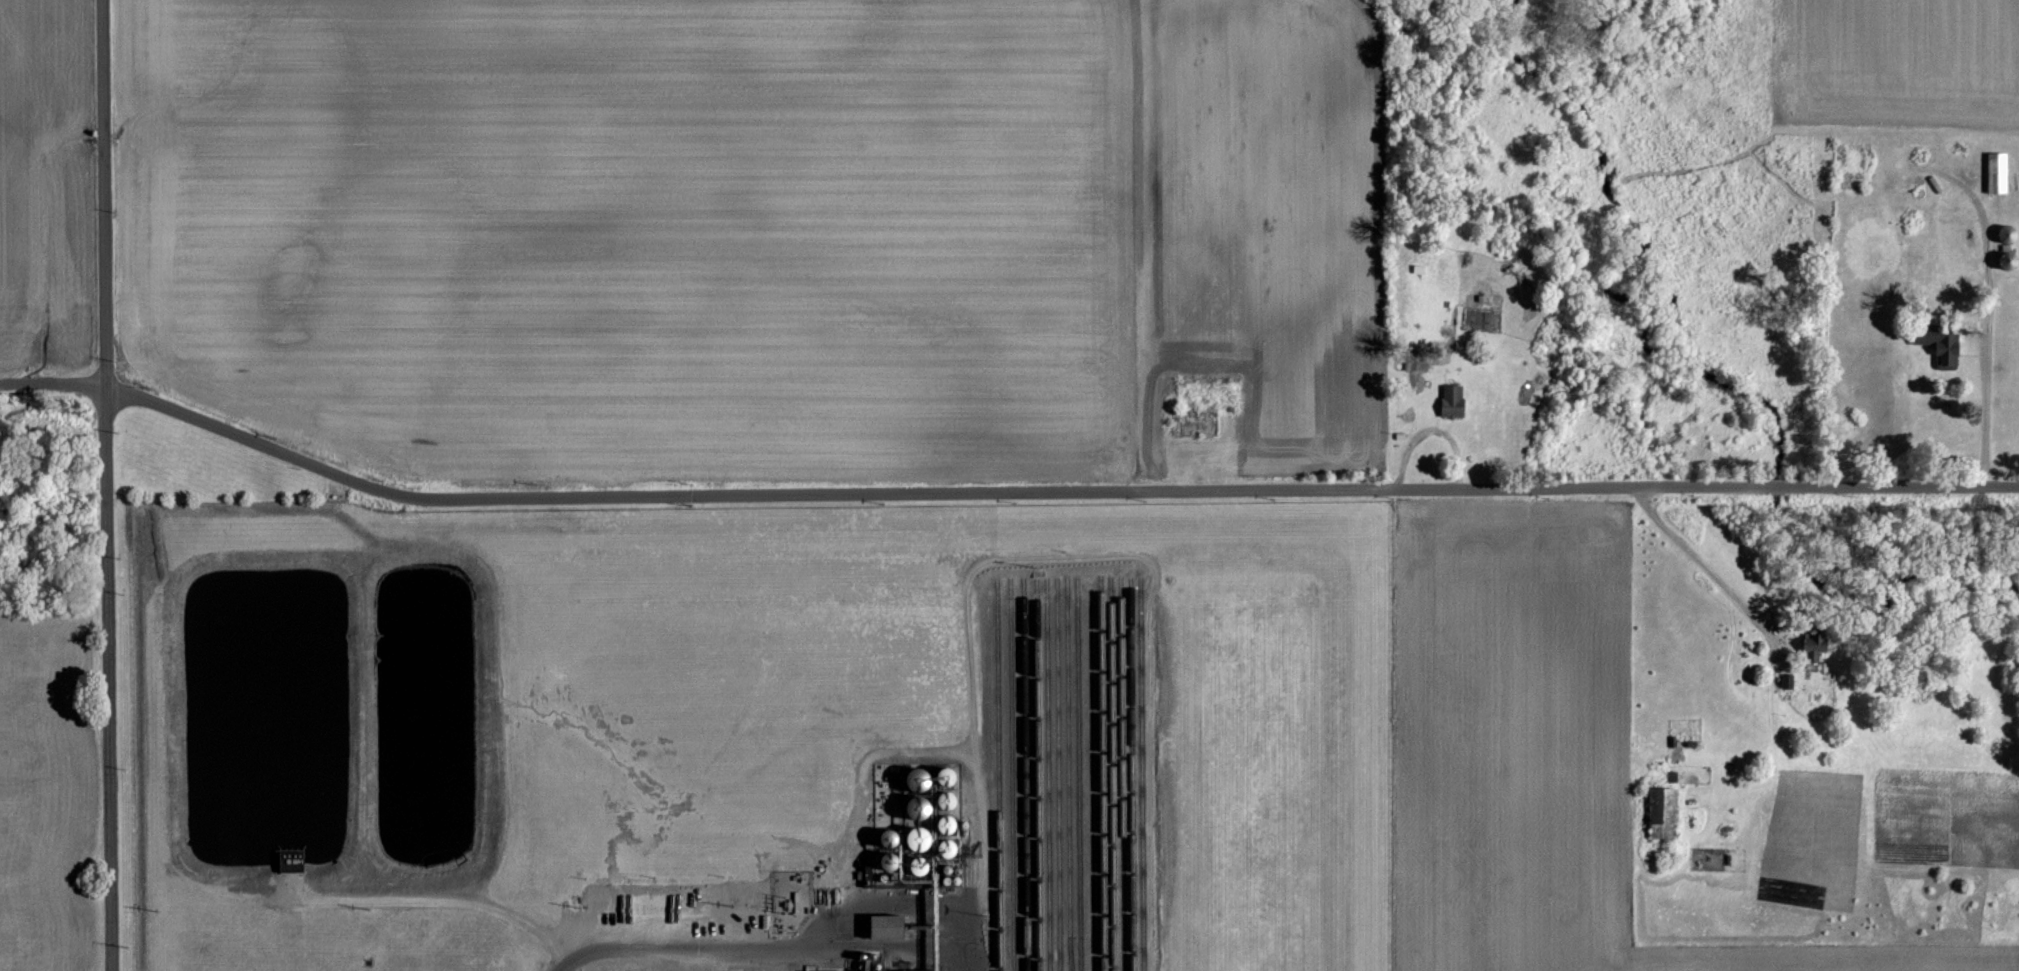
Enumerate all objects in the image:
building: (1999, 174)
road: (102, 192)
building: (1945, 346)
road: (52, 382)
building: (1454, 401)
road: (1981, 421)
road: (1781, 486)
road: (1906, 486)
road: (926, 493)
road: (1764, 632)
building: (1818, 643)
road: (107, 678)
building: (1788, 681)
silo: (944, 775)
silo: (913, 778)
building: (924, 779)
railway: (997, 779)
railway: (1011, 779)
railway: (1025, 779)
railway: (1037, 779)
railway: (1047, 779)
railway: (1057, 779)
railway: (1067, 779)
railway: (1101, 779)
railway: (1111, 779)
railway: (1078, 782)
silo: (944, 800)
silo: (914, 806)
building: (1665, 813)
silo: (945, 824)
silo: (914, 838)
road: (982, 845)
silo: (945, 848)
silo: (915, 865)
road: (428, 901)
building: (883, 925)
road: (768, 946)
road: (984, 957)
building: (885, 968)

